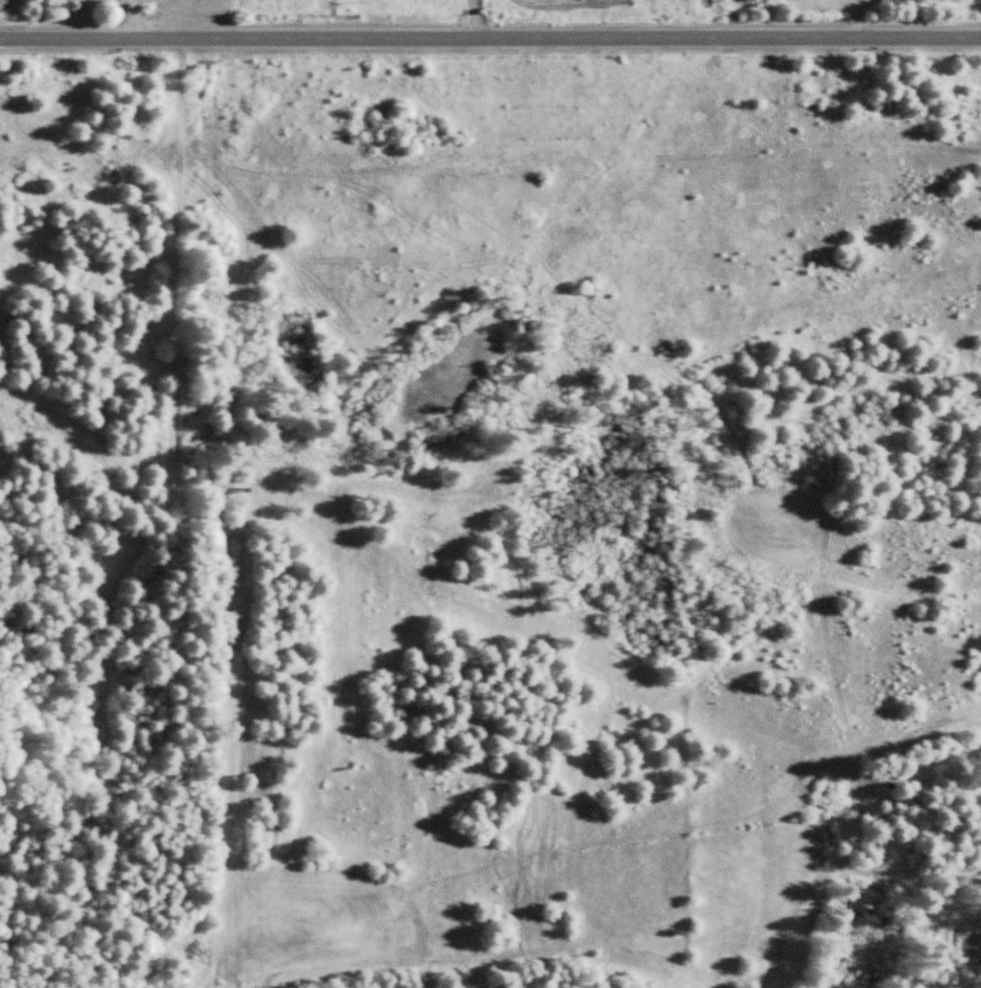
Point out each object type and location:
road: (490, 35)

